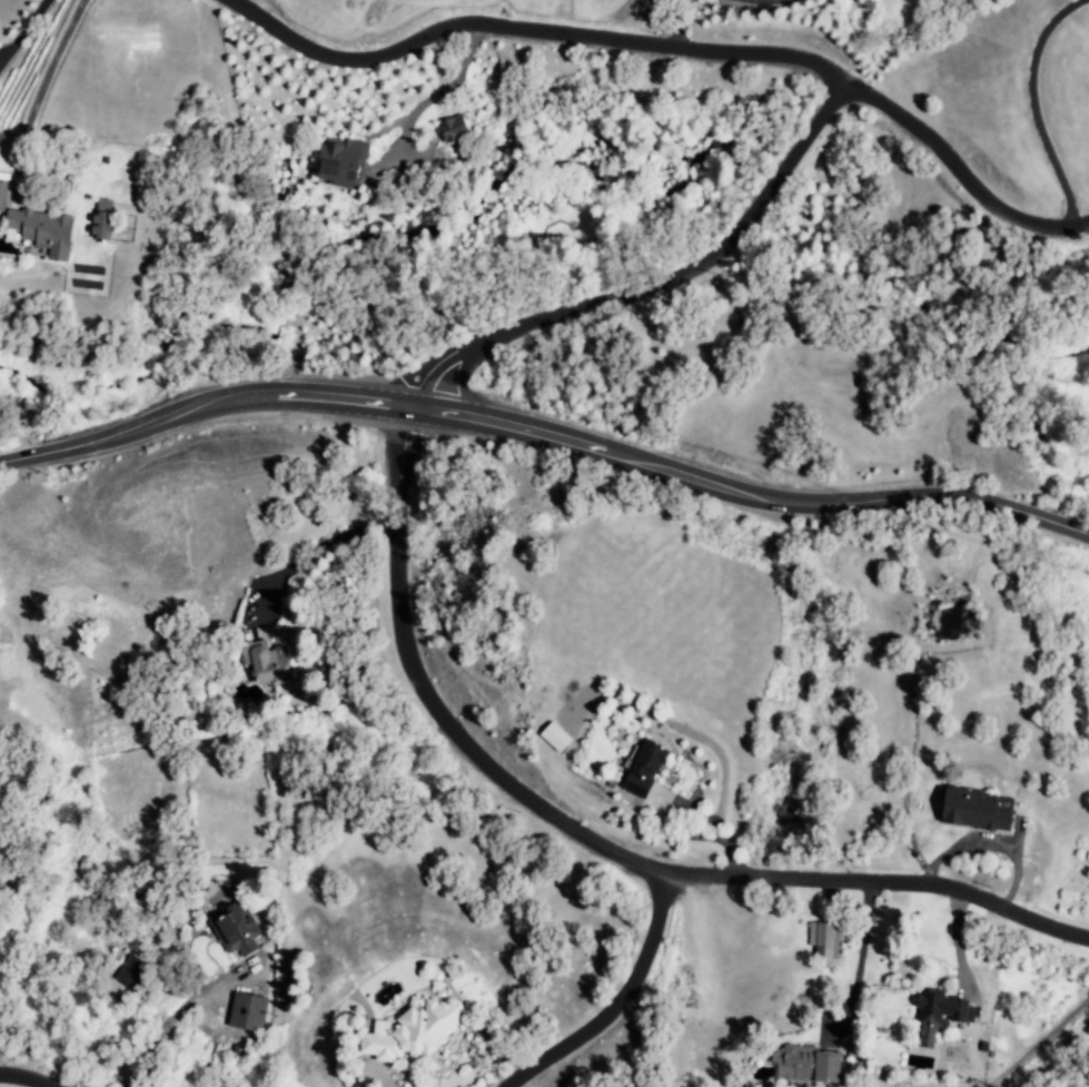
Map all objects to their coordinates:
road: (674, 21)
road: (21, 30)
road: (526, 30)
road: (436, 88)
road: (36, 95)
road: (1032, 107)
building: (453, 128)
building: (340, 160)
road: (957, 175)
building: (2, 196)
building: (101, 219)
building: (42, 230)
road: (654, 281)
road: (545, 437)
road: (313, 550)
building: (266, 663)
building: (554, 737)
building: (642, 769)
road: (684, 807)
building: (972, 811)
road: (600, 833)
road: (987, 843)
building: (235, 929)
building: (824, 940)
road: (861, 945)
building: (131, 972)
building: (247, 1011)
building: (937, 1014)
road: (630, 1017)
road: (167, 1024)
building: (413, 1032)
road: (1038, 1041)
building: (804, 1065)
road: (23, 1080)

